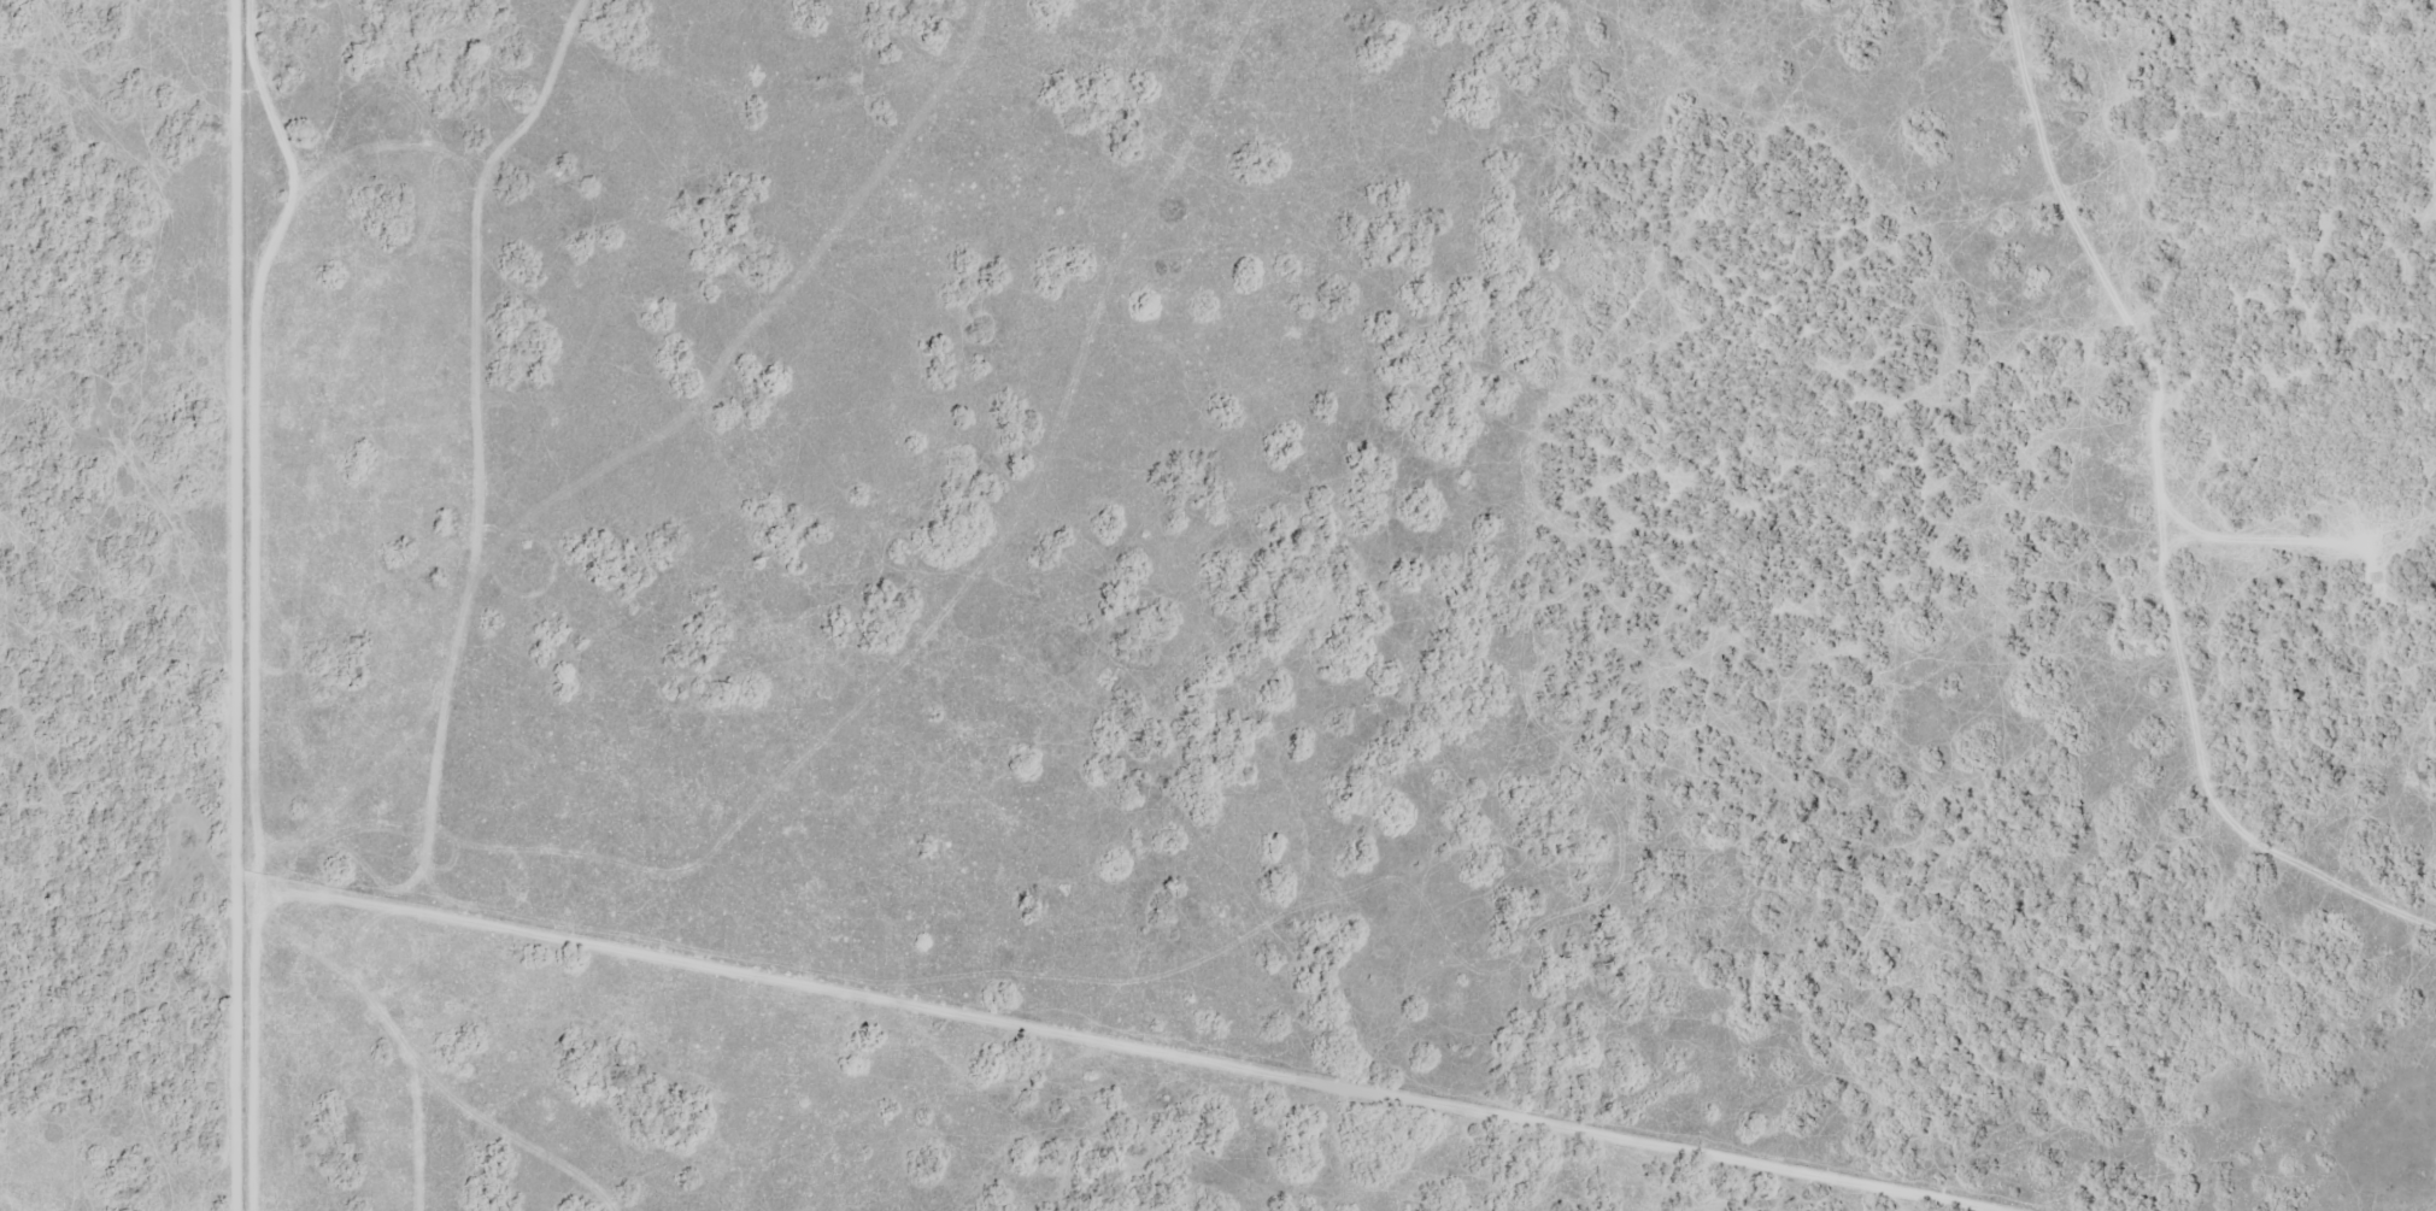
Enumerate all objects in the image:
road: (2173, 507)
road: (2305, 524)

